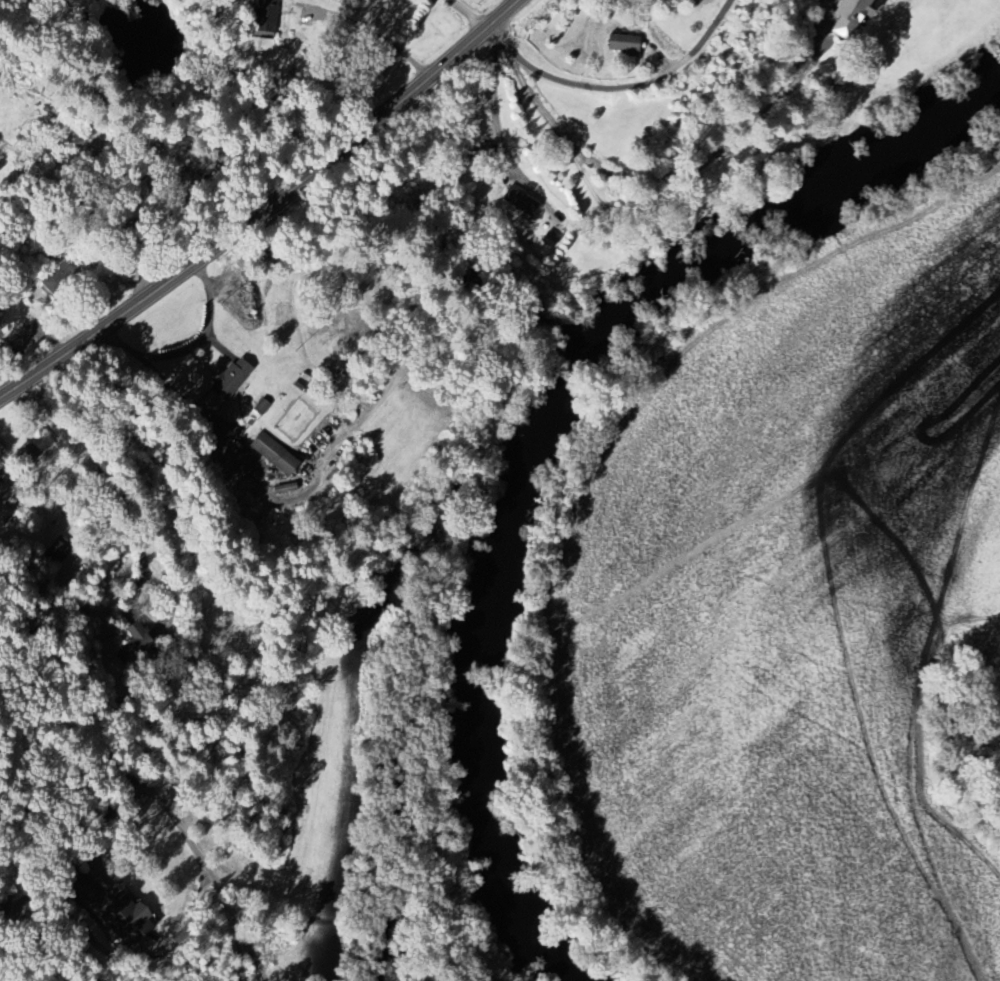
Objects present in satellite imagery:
road: (471, 13)
building: (261, 16)
building: (849, 17)
road: (365, 29)
building: (617, 47)
road: (618, 88)
road: (495, 122)
road: (552, 122)
building: (517, 202)
road: (266, 208)
river: (780, 208)
road: (188, 347)
building: (277, 454)
river: (474, 676)
road: (135, 770)
road: (286, 846)
building: (80, 892)
road: (333, 913)
building: (125, 914)
road: (238, 948)

